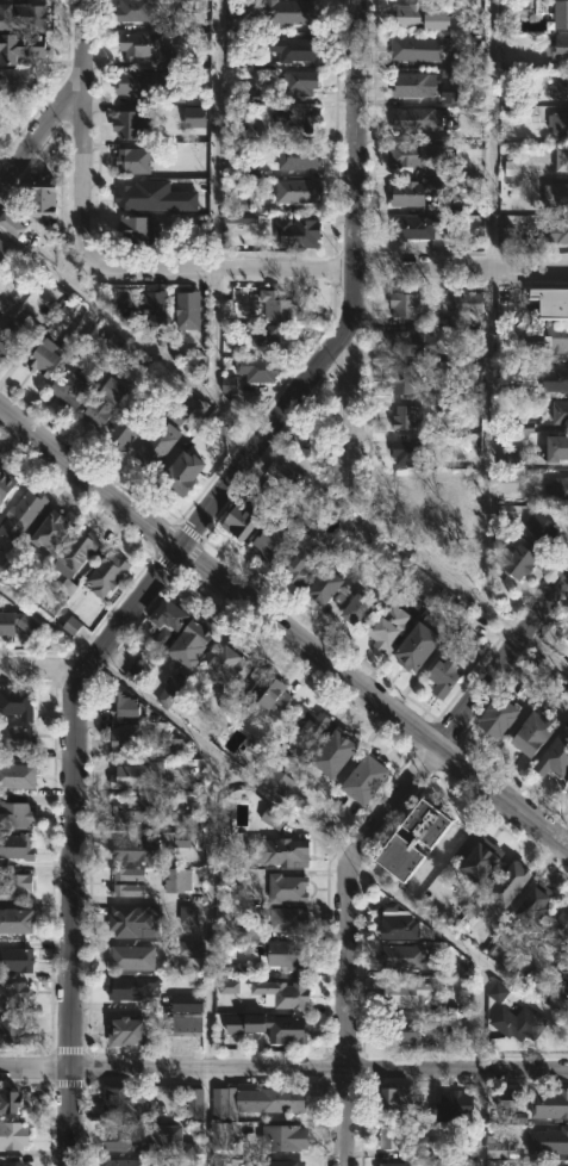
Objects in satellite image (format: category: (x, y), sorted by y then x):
building: (520, 8)
building: (136, 10)
building: (299, 11)
building: (558, 15)
building: (413, 17)
building: (31, 18)
building: (181, 19)
building: (436, 19)
building: (2, 42)
building: (142, 43)
building: (31, 44)
building: (560, 45)
building: (297, 48)
building: (419, 49)
building: (19, 80)
building: (299, 81)
building: (136, 82)
building: (416, 83)
building: (560, 85)
building: (452, 97)
road: (62, 100)
building: (194, 117)
building: (297, 117)
building: (418, 119)
building: (558, 122)
building: (131, 123)
road: (216, 134)
road: (489, 135)
road: (83, 138)
building: (298, 155)
building: (408, 155)
building: (561, 156)
road: (350, 157)
building: (133, 160)
building: (249, 168)
building: (511, 168)
building: (299, 190)
building: (419, 193)
building: (556, 194)
building: (133, 196)
building: (43, 200)
building: (242, 212)
building: (11, 224)
building: (413, 228)
building: (136, 229)
building: (297, 231)
building: (558, 231)
building: (506, 235)
building: (4, 253)
road: (306, 269)
building: (467, 300)
building: (551, 300)
building: (410, 303)
building: (279, 304)
building: (2, 305)
building: (127, 305)
building: (154, 306)
building: (188, 309)
road: (213, 333)
building: (266, 334)
building: (15, 335)
building: (548, 337)
building: (411, 341)
building: (114, 343)
building: (48, 356)
building: (257, 368)
building: (472, 373)
building: (555, 379)
building: (406, 380)
building: (226, 385)
building: (71, 387)
building: (106, 399)
road: (351, 403)
building: (561, 411)
building: (407, 417)
building: (220, 424)
building: (126, 427)
road: (487, 440)
building: (156, 445)
building: (557, 447)
building: (408, 451)
road: (282, 453)
building: (513, 458)
building: (183, 471)
building: (281, 472)
building: (510, 482)
building: (6, 483)
building: (458, 484)
building: (556, 489)
building: (414, 500)
building: (23, 510)
building: (239, 522)
building: (536, 528)
building: (52, 529)
building: (269, 539)
building: (302, 558)
building: (73, 562)
building: (517, 562)
building: (108, 573)
building: (325, 584)
building: (358, 610)
building: (17, 622)
building: (167, 622)
road: (283, 624)
building: (389, 624)
building: (71, 625)
building: (563, 635)
building: (192, 643)
building: (417, 646)
road: (43, 666)
building: (225, 669)
building: (136, 672)
building: (444, 677)
building: (170, 690)
building: (267, 694)
road: (73, 695)
building: (18, 702)
building: (124, 706)
building: (500, 714)
building: (308, 732)
building: (533, 732)
building: (14, 737)
building: (132, 739)
building: (173, 746)
building: (335, 753)
building: (555, 756)
building: (138, 775)
building: (17, 776)
building: (366, 780)
building: (279, 781)
building: (567, 782)
road: (283, 807)
building: (137, 810)
building: (15, 813)
building: (273, 818)
building: (189, 821)
road: (366, 837)
building: (414, 839)
building: (182, 841)
building: (17, 845)
building: (136, 850)
building: (282, 852)
building: (483, 860)
building: (129, 874)
building: (179, 880)
building: (236, 880)
building: (511, 882)
building: (17, 886)
building: (287, 888)
building: (127, 889)
building: (536, 903)
road: (208, 913)
building: (188, 914)
building: (15, 919)
building: (126, 919)
building: (286, 919)
building: (401, 925)
building: (560, 929)
building: (189, 949)
building: (288, 954)
building: (131, 957)
building: (401, 957)
building: (17, 960)
building: (232, 969)
building: (464, 969)
building: (566, 969)
building: (537, 976)
building: (229, 986)
building: (131, 987)
building: (498, 992)
building: (13, 993)
building: (287, 993)
building: (407, 993)
building: (187, 1003)
building: (441, 1017)
building: (519, 1023)
building: (185, 1024)
building: (270, 1025)
building: (13, 1031)
building: (126, 1031)
building: (401, 1031)
road: (283, 1071)
building: (126, 1099)
building: (256, 1099)
building: (10, 1100)
building: (395, 1102)
building: (535, 1102)
building: (192, 1103)
building: (455, 1105)
road: (206, 1118)
road: (478, 1120)
building: (13, 1135)
building: (221, 1135)
building: (126, 1139)
building: (285, 1139)
building: (401, 1139)
building: (549, 1141)
building: (495, 1148)
building: (187, 1151)
building: (124, 1162)
building: (279, 1162)
building: (15, 1164)
building: (401, 1164)
building: (1, 1165)
building: (550, 1165)

